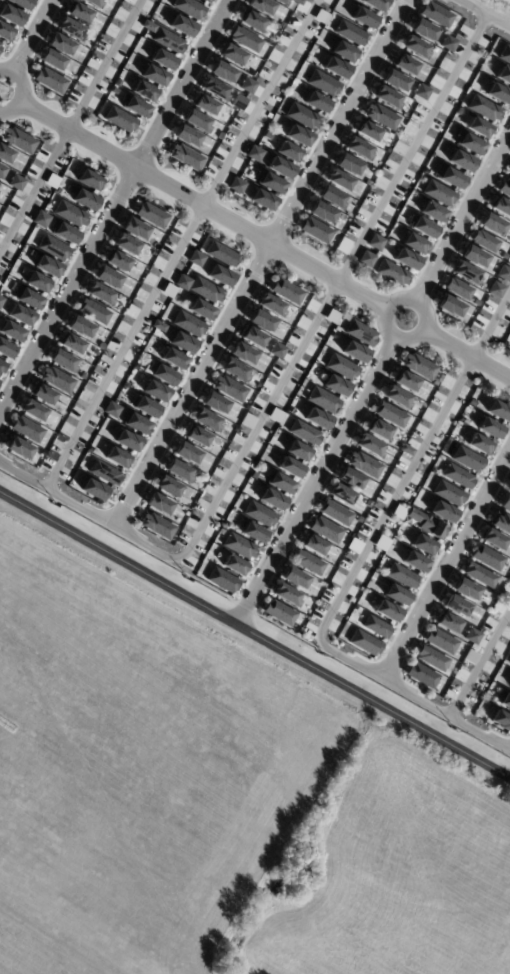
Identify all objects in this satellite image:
building: (206, 1)
building: (282, 2)
building: (298, 2)
building: (95, 3)
building: (21, 4)
building: (375, 4)
building: (261, 6)
building: (189, 8)
building: (79, 12)
building: (436, 14)
building: (11, 15)
road: (480, 15)
building: (321, 16)
building: (363, 18)
building: (251, 20)
building: (282, 23)
building: (148, 26)
building: (182, 26)
building: (71, 29)
building: (422, 29)
building: (6, 33)
building: (350, 33)
road: (30, 36)
building: (245, 39)
building: (168, 41)
building: (448, 43)
building: (0, 44)
building: (60, 44)
building: (1, 47)
building: (415, 47)
building: (344, 52)
building: (232, 54)
building: (504, 54)
building: (162, 59)
building: (52, 60)
building: (404, 64)
building: (335, 67)
building: (222, 71)
building: (154, 75)
building: (503, 75)
building: (50, 80)
building: (394, 80)
building: (322, 83)
building: (248, 85)
building: (215, 89)
road: (22, 91)
building: (114, 91)
building: (144, 92)
building: (421, 92)
building: (498, 93)
building: (387, 98)
building: (316, 102)
building: (205, 105)
building: (134, 106)
building: (484, 108)
building: (458, 111)
building: (302, 116)
building: (381, 116)
building: (119, 119)
building: (197, 121)
road: (72, 128)
building: (479, 128)
building: (367, 130)
building: (298, 135)
building: (186, 136)
building: (220, 136)
building: (18, 140)
building: (469, 143)
building: (359, 148)
building: (289, 152)
building: (254, 153)
building: (5, 154)
building: (186, 157)
building: (461, 160)
building: (348, 164)
building: (280, 167)
building: (509, 170)
building: (2, 171)
building: (509, 173)
building: (450, 177)
building: (89, 180)
building: (339, 180)
building: (16, 182)
building: (269, 182)
building: (367, 183)
building: (0, 185)
building: (236, 185)
building: (505, 188)
building: (57, 191)
building: (438, 193)
building: (332, 197)
building: (83, 198)
building: (262, 199)
road: (116, 204)
building: (500, 206)
road: (202, 207)
building: (321, 212)
building: (433, 212)
building: (70, 214)
building: (151, 215)
road: (462, 215)
building: (40, 219)
building: (492, 224)
building: (422, 227)
building: (134, 228)
building: (316, 230)
building: (64, 232)
building: (484, 241)
road: (179, 242)
building: (376, 242)
building: (414, 244)
building: (126, 245)
building: (53, 248)
building: (221, 254)
building: (473, 256)
building: (196, 258)
building: (366, 258)
building: (406, 259)
building: (117, 261)
road: (261, 261)
building: (47, 266)
building: (160, 271)
building: (392, 273)
building: (466, 273)
building: (503, 273)
building: (220, 275)
building: (107, 277)
building: (38, 282)
building: (199, 288)
building: (458, 288)
building: (496, 290)
building: (287, 291)
building: (169, 292)
building: (100, 294)
building: (27, 298)
building: (1, 300)
building: (476, 302)
building: (271, 305)
building: (449, 306)
building: (201, 310)
building: (93, 311)
building: (20, 315)
building: (332, 317)
building: (261, 321)
road: (385, 322)
building: (188, 323)
building: (158, 326)
building: (79, 327)
building: (11, 331)
building: (360, 333)
building: (333, 336)
building: (252, 337)
building: (182, 342)
building: (71, 343)
building: (102, 346)
building: (6, 349)
building: (95, 351)
building: (277, 351)
building: (354, 351)
building: (242, 353)
road: (467, 355)
building: (173, 359)
building: (63, 361)
building: (2, 366)
building: (341, 366)
building: (419, 366)
building: (136, 367)
building: (235, 370)
building: (162, 374)
building: (82, 376)
road: (280, 377)
building: (57, 379)
building: (405, 381)
building: (435, 381)
building: (258, 385)
building: (335, 385)
building: (229, 388)
building: (155, 391)
building: (43, 394)
building: (397, 397)
building: (322, 400)
building: (214, 403)
building: (471, 403)
building: (146, 407)
building: (246, 407)
building: (112, 410)
building: (498, 410)
building: (33, 411)
building: (390, 414)
building: (275, 416)
building: (317, 418)
building: (461, 419)
building: (207, 420)
building: (248, 420)
building: (136, 423)
building: (489, 428)
building: (27, 429)
building: (378, 430)
building: (304, 432)
building: (197, 436)
building: (127, 440)
building: (479, 445)
building: (370, 446)
building: (19, 448)
building: (90, 449)
building: (405, 450)
building: (298, 451)
building: (43, 453)
building: (187, 453)
building: (118, 458)
building: (467, 459)
building: (364, 464)
building: (290, 468)
building: (179, 471)
building: (104, 473)
building: (253, 475)
building: (457, 476)
building: (349, 478)
road: (316, 480)
building: (279, 482)
building: (71, 484)
building: (168, 486)
building: (93, 489)
building: (509, 489)
building: (448, 493)
building: (341, 494)
building: (272, 499)
building: (158, 503)
building: (505, 503)
building: (442, 511)
building: (335, 512)
building: (259, 514)
building: (359, 519)
building: (501, 522)
building: (226, 524)
building: (426, 524)
building: (157, 526)
building: (221, 530)
building: (326, 530)
building: (253, 533)
building: (493, 539)
building: (313, 544)
building: (424, 545)
building: (239, 546)
building: (354, 546)
building: (487, 557)
road: (358, 560)
building: (308, 562)
building: (415, 562)
road: (448, 565)
building: (234, 566)
building: (479, 574)
building: (506, 574)
building: (402, 576)
building: (294, 578)
building: (222, 580)
building: (465, 589)
building: (286, 595)
building: (396, 595)
building: (455, 605)
building: (355, 608)
building: (387, 611)
building: (279, 612)
building: (447, 622)
building: (376, 627)
road: (255, 633)
building: (472, 636)
building: (441, 641)
building: (364, 643)
building: (470, 657)
building: (431, 658)
road: (481, 663)
building: (509, 664)
building: (509, 666)
building: (422, 675)
building: (509, 686)
building: (509, 687)
building: (489, 698)
building: (505, 701)
building: (501, 720)
building: (301, 868)

